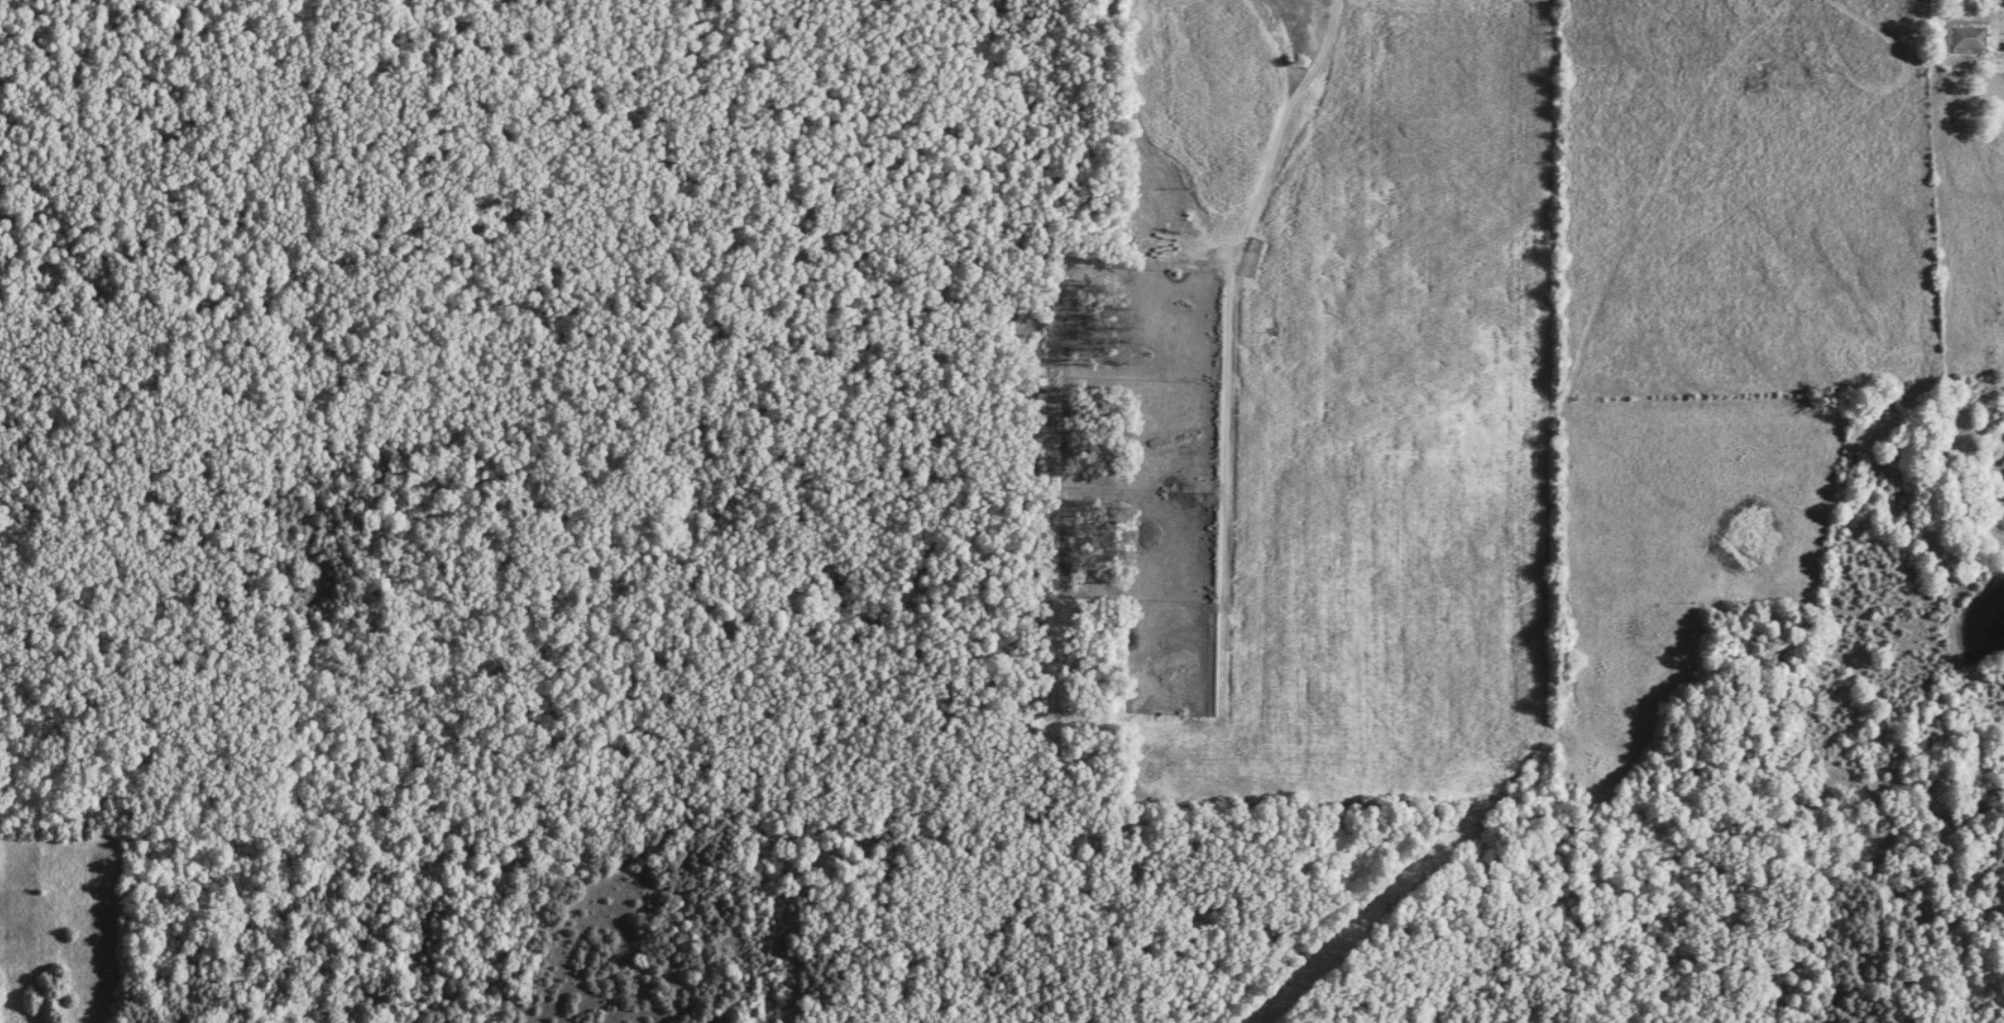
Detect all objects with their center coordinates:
building: (1976, 31)
road: (565, 963)

